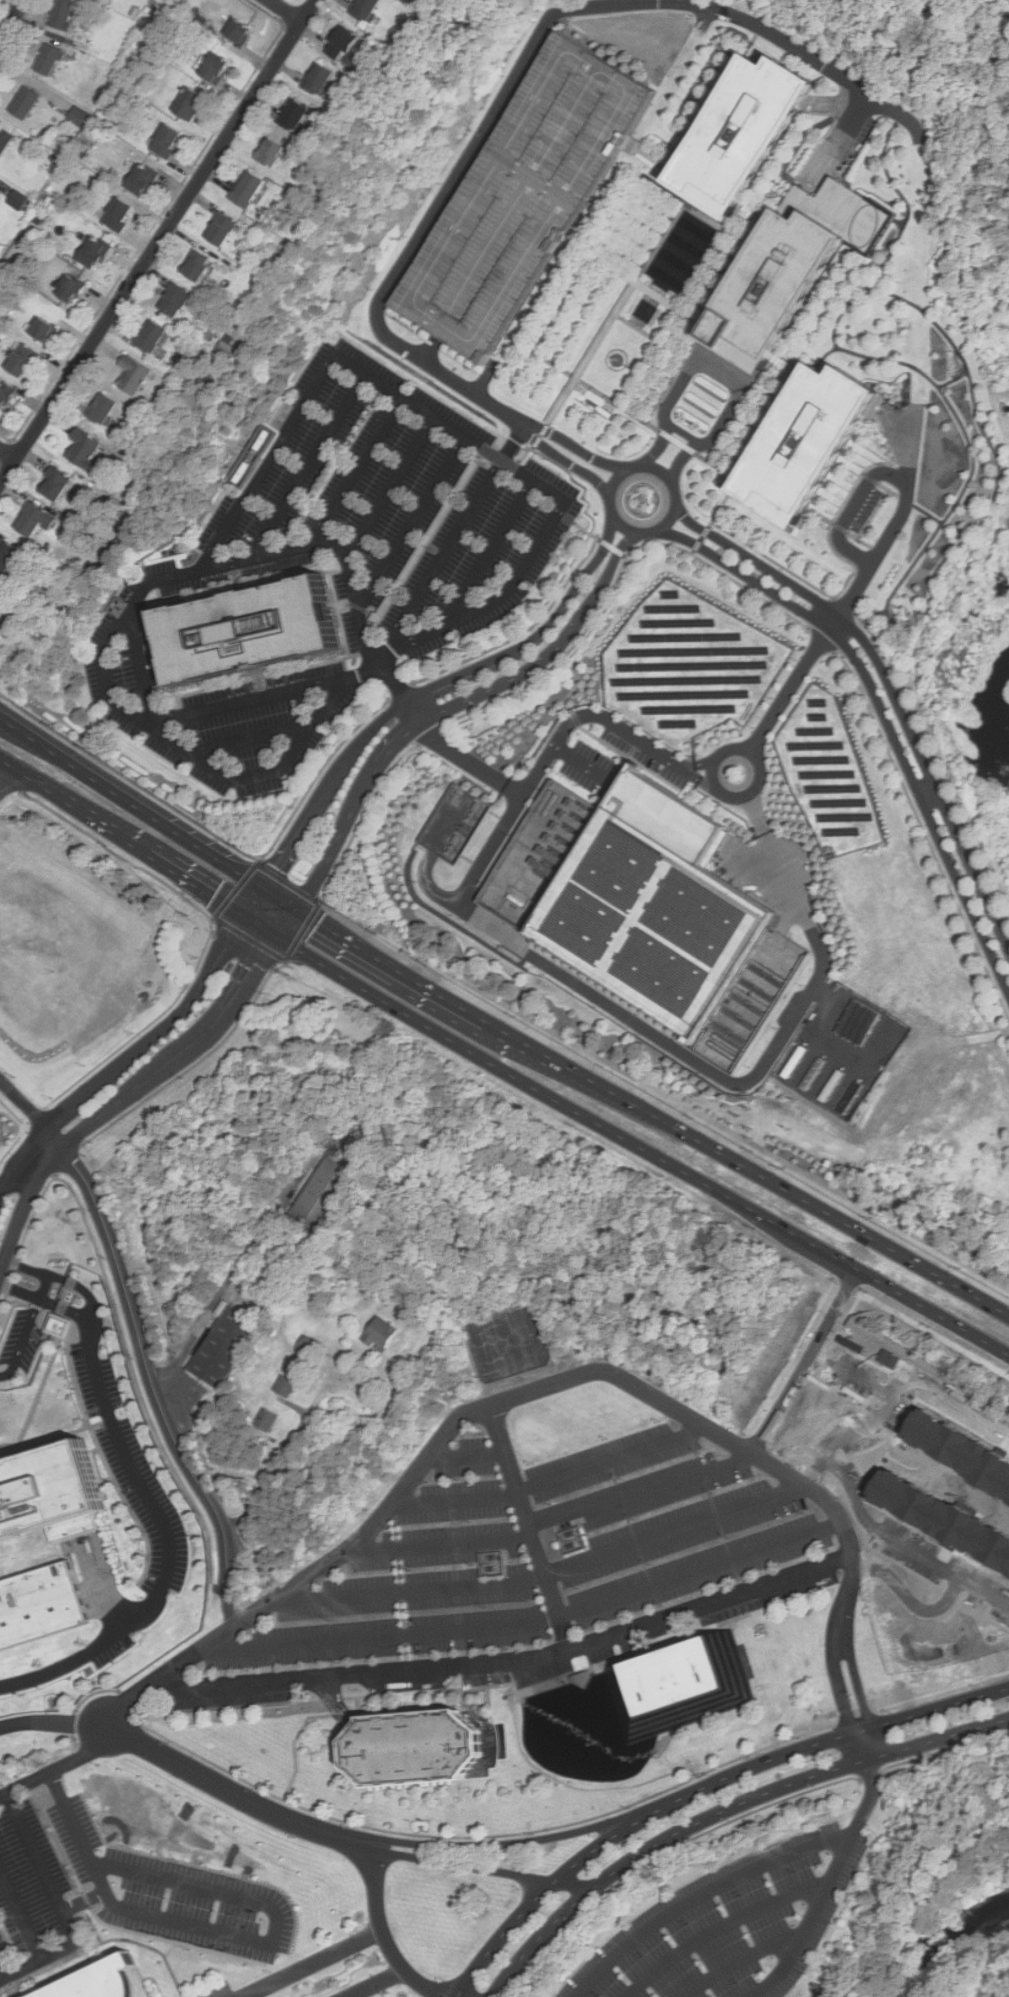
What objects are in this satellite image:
building: (363, 8)
road: (286, 10)
building: (61, 13)
road: (12, 28)
building: (236, 31)
building: (340, 42)
building: (47, 59)
road: (520, 66)
building: (213, 68)
building: (317, 78)
building: (23, 102)
building: (187, 103)
building: (293, 114)
building: (77, 115)
building: (738, 134)
road: (840, 134)
building: (4, 140)
building: (164, 140)
building: (269, 152)
road: (647, 156)
building: (140, 179)
building: (246, 189)
building: (520, 198)
parking garage: (520, 198)
building: (17, 200)
road: (757, 208)
building: (116, 214)
building: (219, 228)
road: (158, 241)
building: (92, 252)
road: (709, 253)
building: (195, 266)
road: (871, 268)
building: (790, 269)
road: (635, 280)
building: (69, 288)
building: (173, 299)
road: (562, 302)
road: (637, 326)
building: (41, 330)
building: (150, 336)
road: (429, 348)
road: (592, 353)
road: (647, 355)
road: (827, 356)
flagpole: (617, 359)
building: (20, 360)
road: (627, 365)
road: (788, 367)
road: (720, 372)
road: (676, 373)
building: (132, 375)
road: (954, 379)
building: (4, 395)
road: (622, 406)
building: (101, 408)
road: (742, 409)
road: (684, 434)
road: (538, 441)
building: (806, 445)
building: (82, 448)
road: (576, 448)
road: (8, 453)
road: (481, 453)
road: (524, 454)
road: (565, 460)
road: (518, 464)
road: (304, 468)
road: (353, 472)
road: (659, 472)
building: (53, 483)
road: (388, 488)
road: (889, 489)
road: (854, 508)
road: (929, 514)
road: (716, 517)
road: (647, 518)
building: (34, 519)
road: (410, 524)
road: (833, 526)
road: (844, 531)
road: (427, 540)
road: (450, 541)
road: (324, 545)
road: (613, 547)
building: (8, 555)
parking lot: (335, 570)
road: (171, 577)
road: (934, 587)
road: (855, 589)
road: (504, 592)
road: (363, 612)
road: (871, 613)
building: (245, 632)
solar farm: (688, 666)
road: (138, 679)
road: (578, 683)
road: (890, 689)
road: (902, 689)
road: (432, 691)
road: (254, 700)
road: (453, 705)
road: (883, 715)
road: (20, 738)
road: (244, 744)
road: (622, 753)
road: (404, 755)
road: (707, 761)
road: (8, 762)
road: (684, 762)
road: (583, 764)
road: (323, 768)
road: (686, 769)
road: (713, 775)
solar farm: (827, 775)
road: (8, 776)
road: (709, 782)
road: (45, 786)
road: (514, 791)
road: (131, 800)
road: (757, 813)
road: (159, 858)
road: (426, 885)
traffic signals: (264, 886)
road: (281, 897)
road: (254, 899)
traffic signals: (298, 909)
building: (655, 909)
traffic signals: (244, 912)
road: (262, 923)
traffic signals: (280, 934)
road: (578, 987)
road: (161, 1033)
road: (195, 1043)
road: (651, 1116)
road: (639, 1155)
road: (22, 1160)
building: (324, 1195)
road: (24, 1208)
road: (36, 1270)
road: (44, 1287)
road: (221, 1291)
road: (28, 1294)
road: (92, 1300)
road: (78, 1314)
road: (136, 1321)
building: (58, 1325)
building: (386, 1330)
road: (23, 1341)
park: (508, 1341)
building: (231, 1343)
building: (308, 1343)
building: (886, 1356)
road: (801, 1364)
road: (859, 1368)
road: (520, 1382)
building: (285, 1384)
road: (544, 1384)
road: (915, 1384)
road: (40, 1392)
building: (267, 1421)
road: (54, 1437)
building: (958, 1450)
road: (6, 1456)
road: (466, 1456)
road: (615, 1460)
road: (277, 1464)
road: (823, 1471)
road: (139, 1482)
road: (641, 1488)
building: (47, 1492)
road: (456, 1498)
building: (941, 1517)
road: (532, 1524)
road: (680, 1533)
road: (909, 1536)
building: (557, 1542)
road: (442, 1543)
building: (491, 1563)
parking lot: (528, 1569)
road: (701, 1570)
road: (97, 1573)
road: (414, 1586)
road: (913, 1589)
building: (38, 1604)
road: (229, 1607)
road: (384, 1632)
road: (80, 1657)
road: (515, 1659)
building: (680, 1684)
road: (937, 1708)
road: (55, 1722)
building: (409, 1749)
road: (749, 1766)
road: (61, 1767)
road: (239, 1793)
road: (722, 1809)
road: (507, 1844)
road: (597, 1848)
road: (463, 1866)
road: (838, 1872)
road: (573, 1884)
parking lot: (116, 1893)
road: (702, 1894)
road: (84, 1901)
road: (60, 1906)
road: (20, 1916)
parking lot: (735, 1923)
road: (112, 1926)
road: (723, 1926)
road: (229, 1934)
road: (386, 1935)
road: (501, 1935)
road: (135, 1937)
river: (954, 1938)
road: (101, 1943)
road: (169, 1950)
road: (743, 1959)
road: (310, 1963)
building: (97, 1981)
road: (379, 1983)

